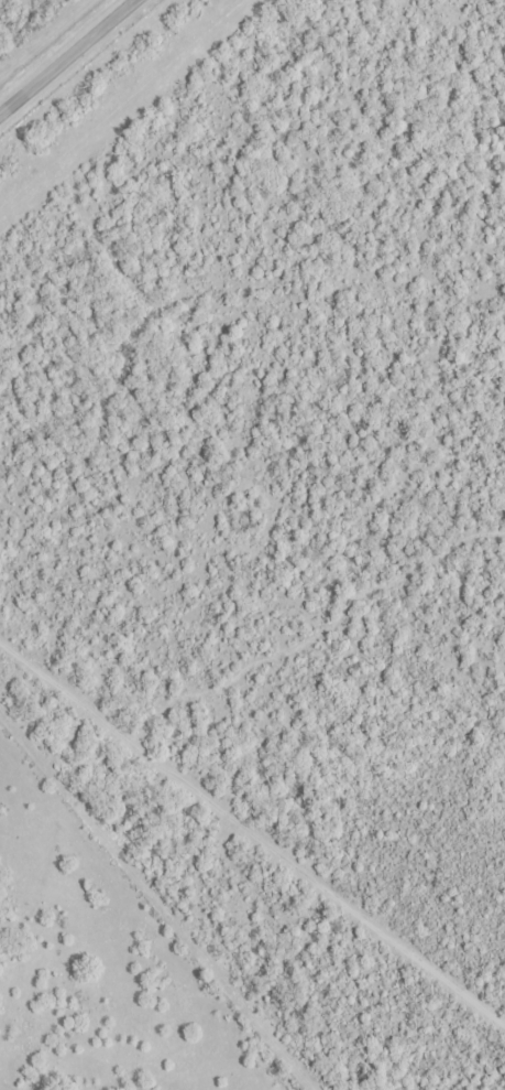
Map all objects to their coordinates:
road: (70, 60)

